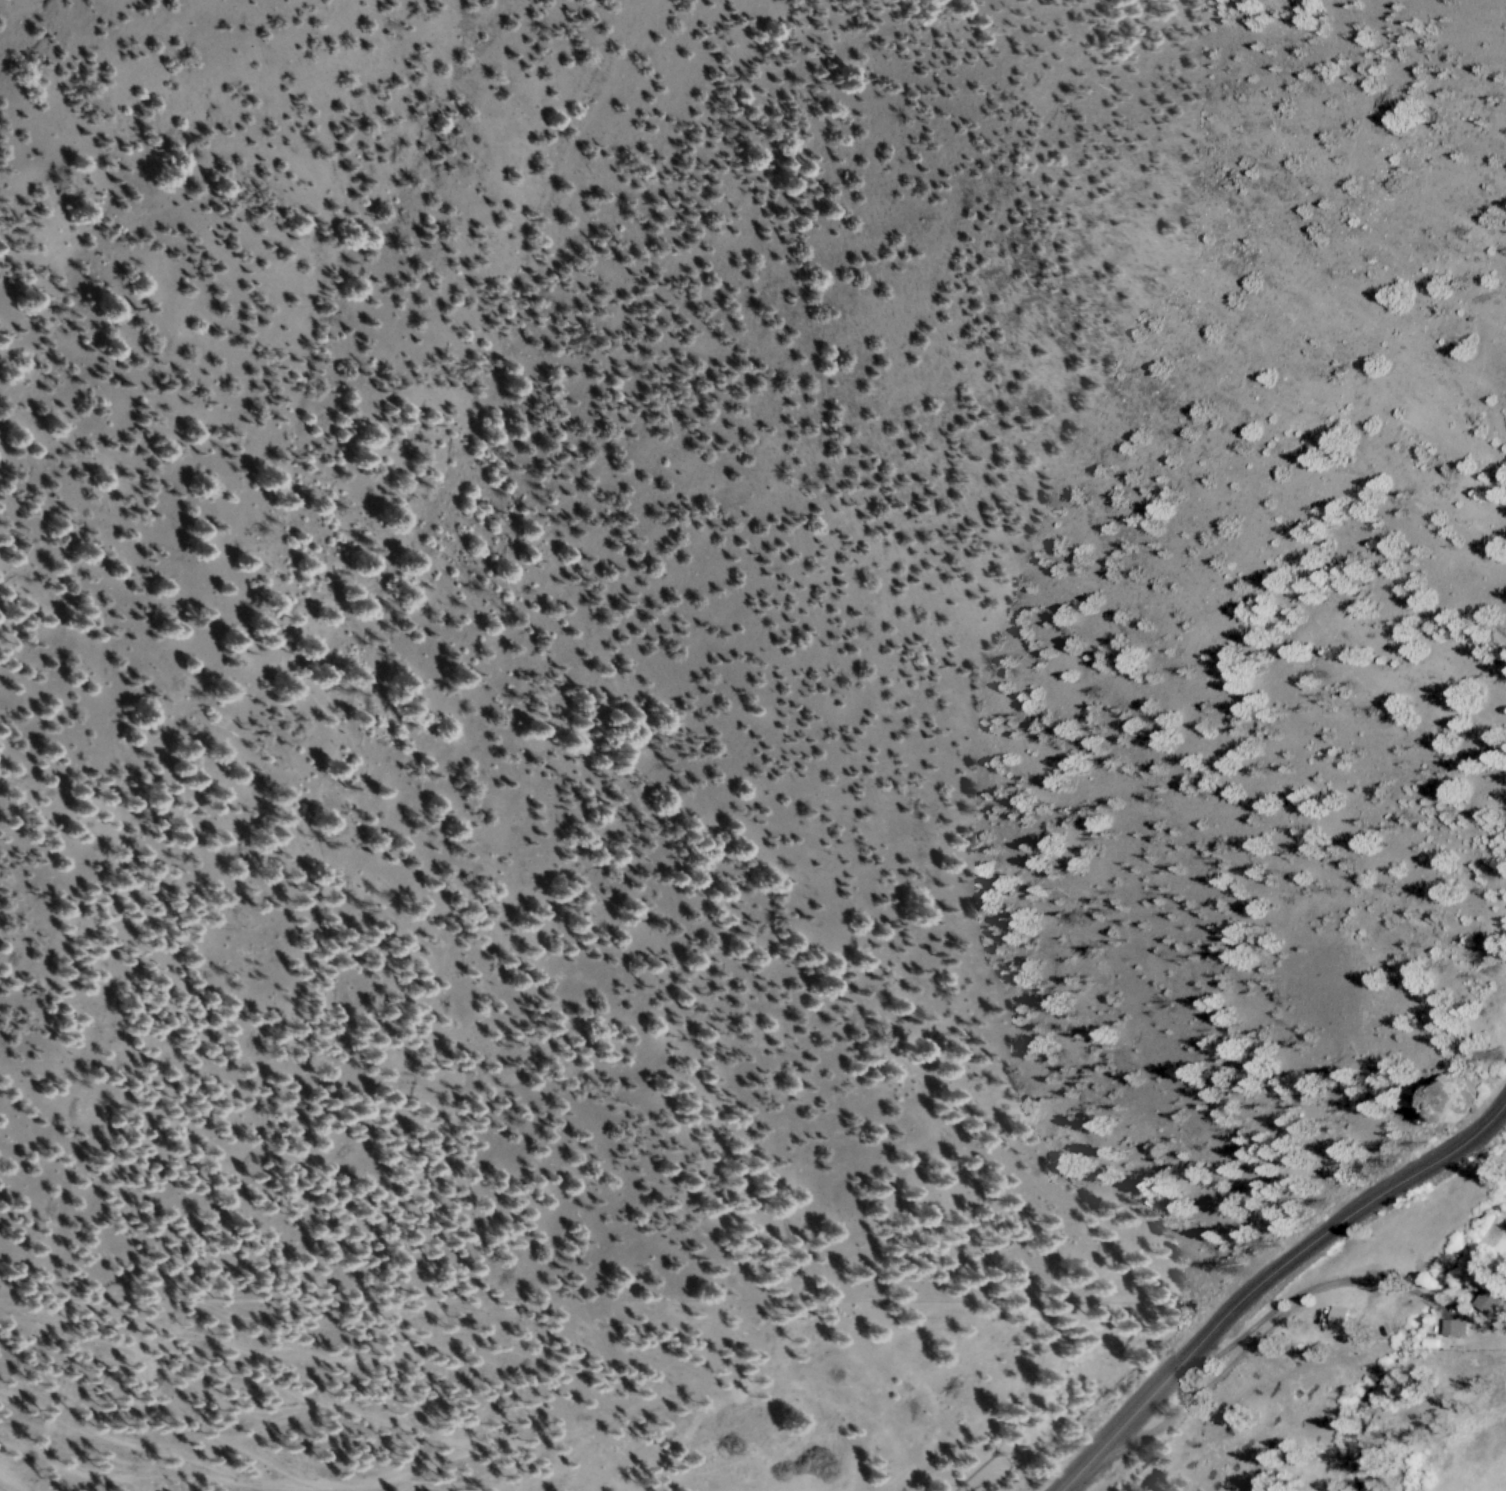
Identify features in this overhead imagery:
road: (1262, 1273)
building: (1493, 1299)
building: (1341, 1320)
building: (1456, 1328)
crop: (1303, 1344)
road: (0, 1490)

